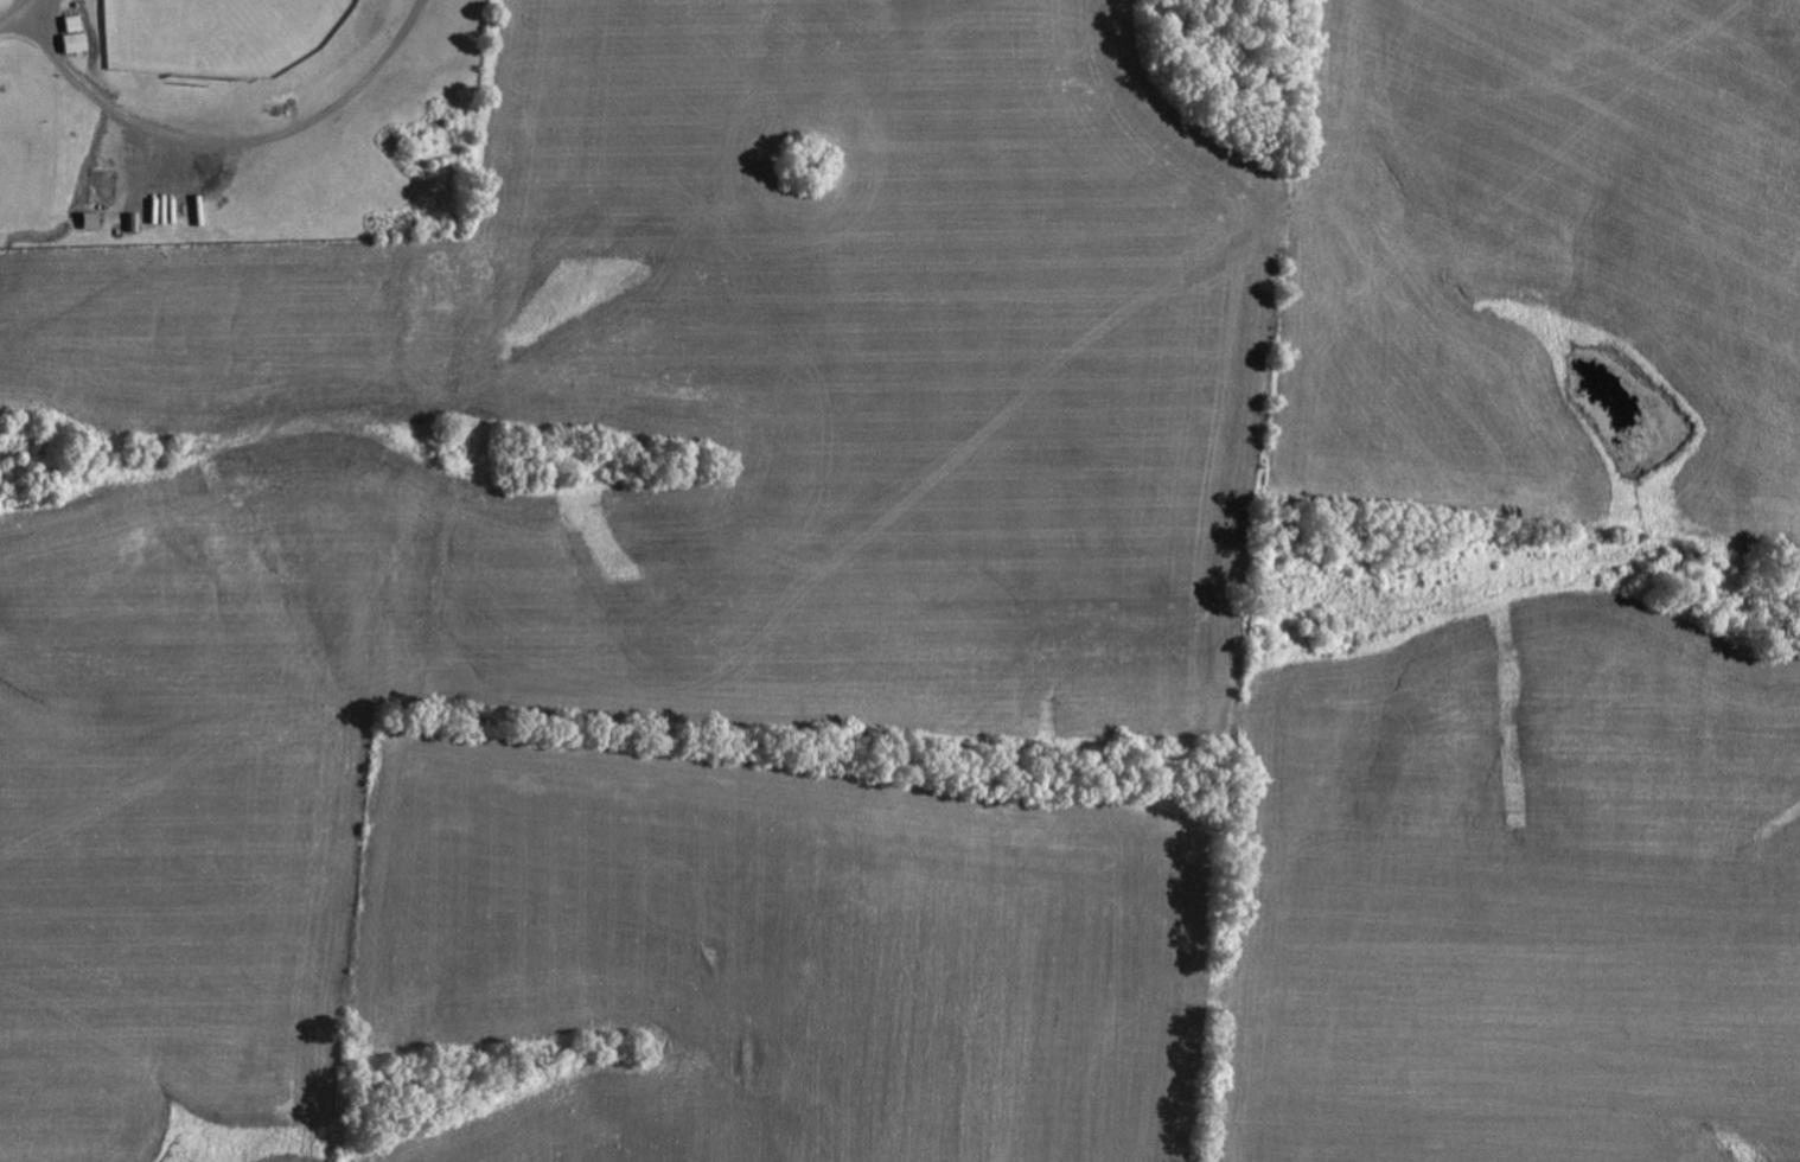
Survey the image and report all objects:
building: (74, 20)

